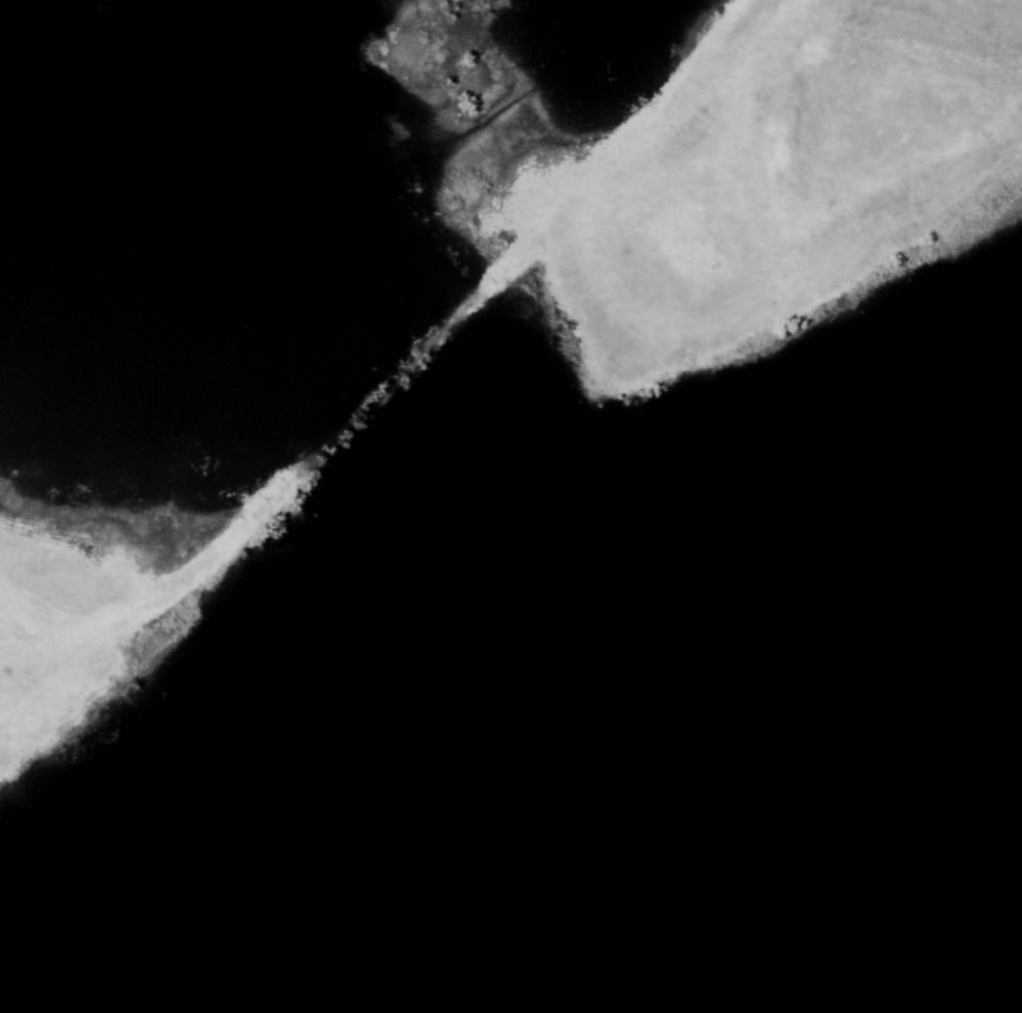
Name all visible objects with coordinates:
airport runway: (850, 112)

